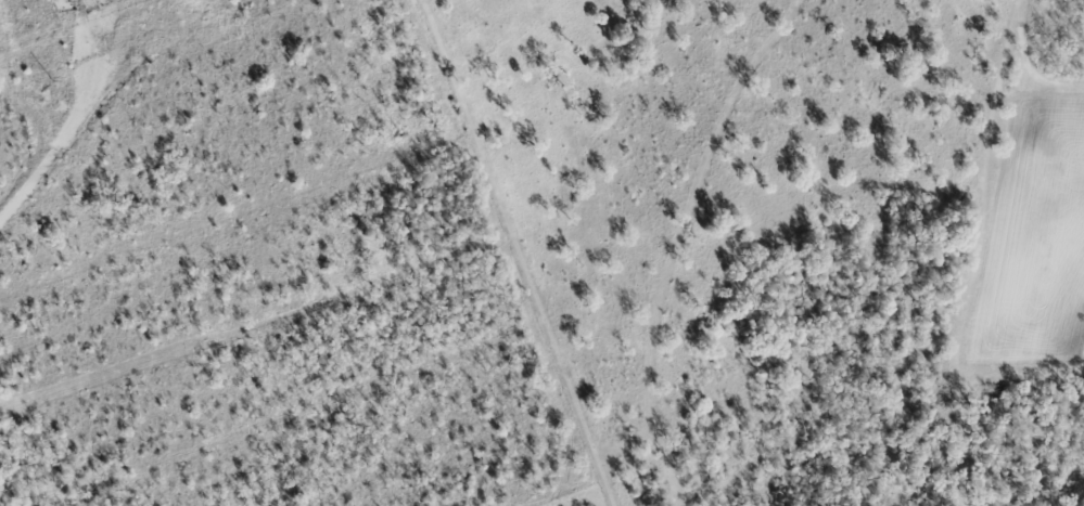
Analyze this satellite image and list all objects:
road: (73, 118)

